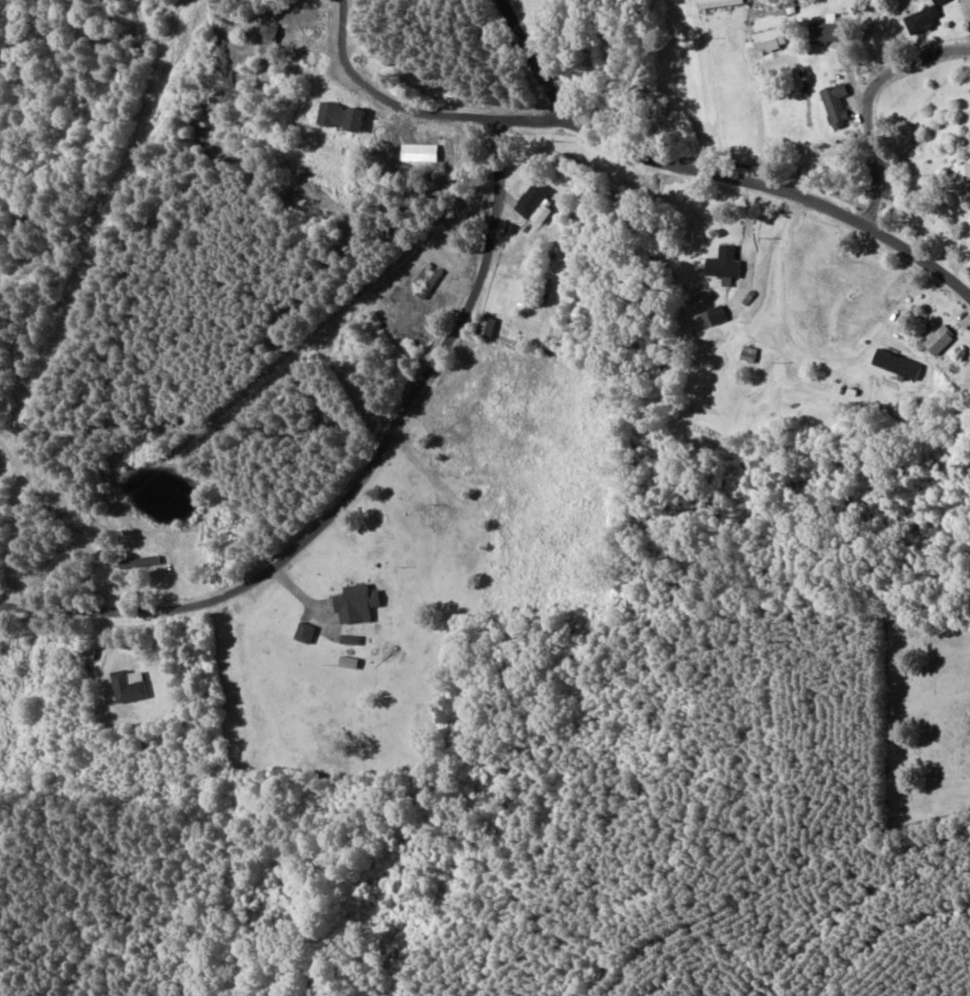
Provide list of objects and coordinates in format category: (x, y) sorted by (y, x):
building: (715, 3)
building: (922, 17)
road: (530, 30)
building: (823, 30)
building: (767, 39)
building: (834, 103)
building: (339, 116)
road: (865, 137)
road: (391, 157)
road: (772, 159)
building: (958, 179)
building: (534, 204)
road: (684, 218)
building: (722, 263)
building: (712, 316)
building: (938, 340)
building: (747, 354)
building: (895, 364)
road: (968, 372)
road: (317, 532)
building: (137, 562)
building: (354, 604)
building: (303, 633)
building: (126, 686)
road: (812, 906)

